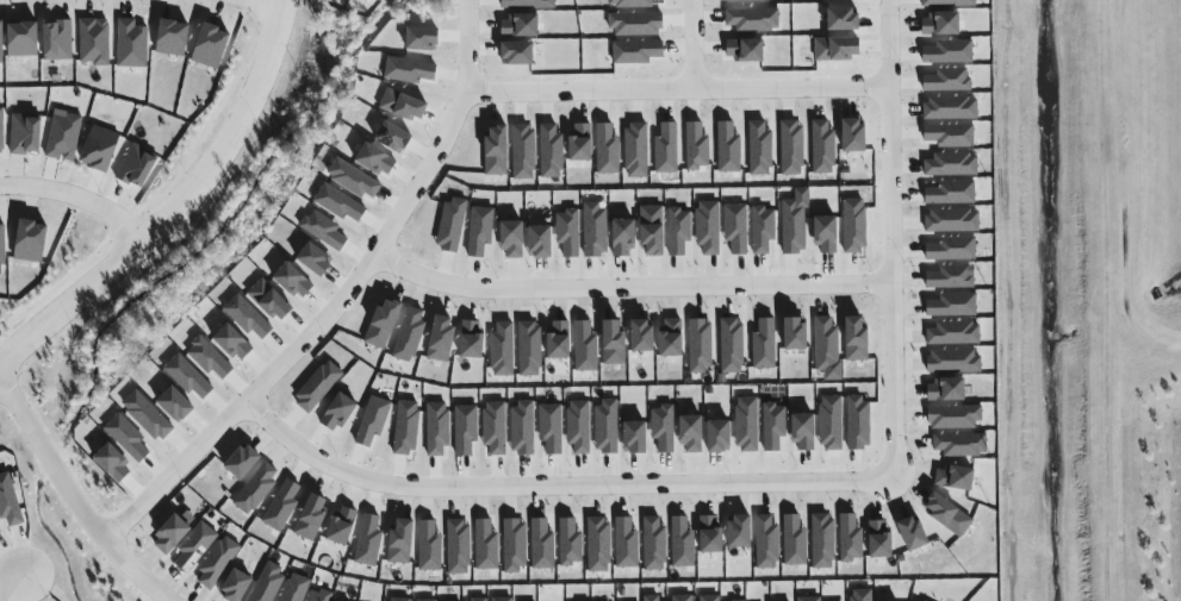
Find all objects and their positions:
road: (267, 2)
road: (279, 2)
building: (174, 37)
building: (24, 39)
building: (57, 40)
building: (94, 42)
building: (1, 44)
building: (132, 44)
building: (211, 45)
road: (692, 45)
road: (890, 48)
road: (776, 92)
road: (452, 126)
building: (1, 131)
building: (26, 133)
building: (64, 137)
road: (236, 139)
building: (100, 149)
road: (76, 195)
building: (340, 204)
building: (450, 225)
building: (854, 225)
building: (794, 226)
building: (708, 227)
building: (736, 227)
building: (324, 230)
building: (480, 230)
building: (596, 230)
building: (763, 230)
building: (653, 231)
building: (678, 231)
building: (568, 232)
building: (827, 234)
building: (623, 237)
building: (514, 239)
building: (31, 242)
building: (540, 242)
building: (2, 245)
building: (316, 258)
building: (951, 277)
building: (294, 281)
building: (271, 300)
road: (69, 302)
building: (953, 305)
building: (248, 318)
building: (384, 324)
building: (796, 333)
building: (953, 333)
building: (410, 334)
building: (642, 336)
building: (672, 337)
building: (441, 339)
building: (857, 339)
building: (472, 340)
building: (234, 343)
building: (614, 343)
building: (764, 344)
building: (826, 344)
building: (700, 345)
building: (732, 345)
building: (585, 346)
building: (502, 349)
building: (529, 349)
building: (559, 349)
building: (210, 359)
building: (953, 361)
building: (188, 377)
building: (315, 387)
building: (946, 390)
road: (254, 399)
building: (176, 405)
building: (337, 411)
building: (148, 415)
building: (955, 417)
building: (372, 422)
building: (831, 422)
building: (859, 424)
road: (288, 428)
building: (745, 428)
building: (772, 430)
building: (404, 431)
building: (578, 431)
building: (603, 431)
building: (521, 432)
building: (804, 432)
building: (434, 433)
building: (460, 433)
building: (547, 433)
building: (661, 433)
building: (493, 434)
building: (686, 436)
building: (128, 437)
building: (711, 438)
building: (629, 443)
building: (961, 444)
road: (262, 445)
road: (317, 447)
road: (280, 459)
building: (237, 464)
road: (358, 464)
road: (897, 465)
road: (691, 470)
road: (773, 470)
road: (609, 471)
road: (719, 471)
road: (751, 471)
road: (526, 472)
road: (582, 472)
road: (634, 472)
road: (664, 472)
road: (399, 474)
road: (553, 474)
road: (498, 475)
road: (305, 476)
road: (435, 476)
road: (461, 476)
building: (955, 477)
road: (325, 486)
building: (255, 492)
road: (70, 497)
road: (358, 499)
road: (377, 500)
building: (10, 501)
road: (626, 501)
road: (653, 502)
road: (480, 503)
road: (512, 503)
road: (540, 503)
road: (565, 503)
road: (406, 505)
road: (428, 505)
road: (596, 505)
road: (453, 506)
road: (680, 506)
building: (280, 508)
building: (949, 514)
building: (309, 518)
building: (342, 525)
building: (0, 531)
building: (740, 532)
building: (710, 534)
building: (913, 534)
building: (172, 536)
building: (851, 538)
building: (879, 539)
building: (368, 540)
building: (795, 540)
building: (822, 540)
building: (766, 541)
building: (400, 543)
building: (570, 543)
building: (682, 543)
building: (542, 544)
building: (598, 544)
building: (626, 544)
building: (654, 544)
building: (486, 545)
building: (515, 545)
building: (195, 546)
building: (429, 546)
building: (458, 546)
building: (218, 562)
building: (267, 583)
building: (237, 586)
road: (12, 588)
building: (294, 588)
building: (318, 595)
building: (860, 595)
building: (680, 597)
building: (398, 599)
building: (479, 599)
building: (501, 599)
building: (654, 599)
building: (708, 599)
building: (809, 599)
building: (425, 600)
building: (924, 600)

